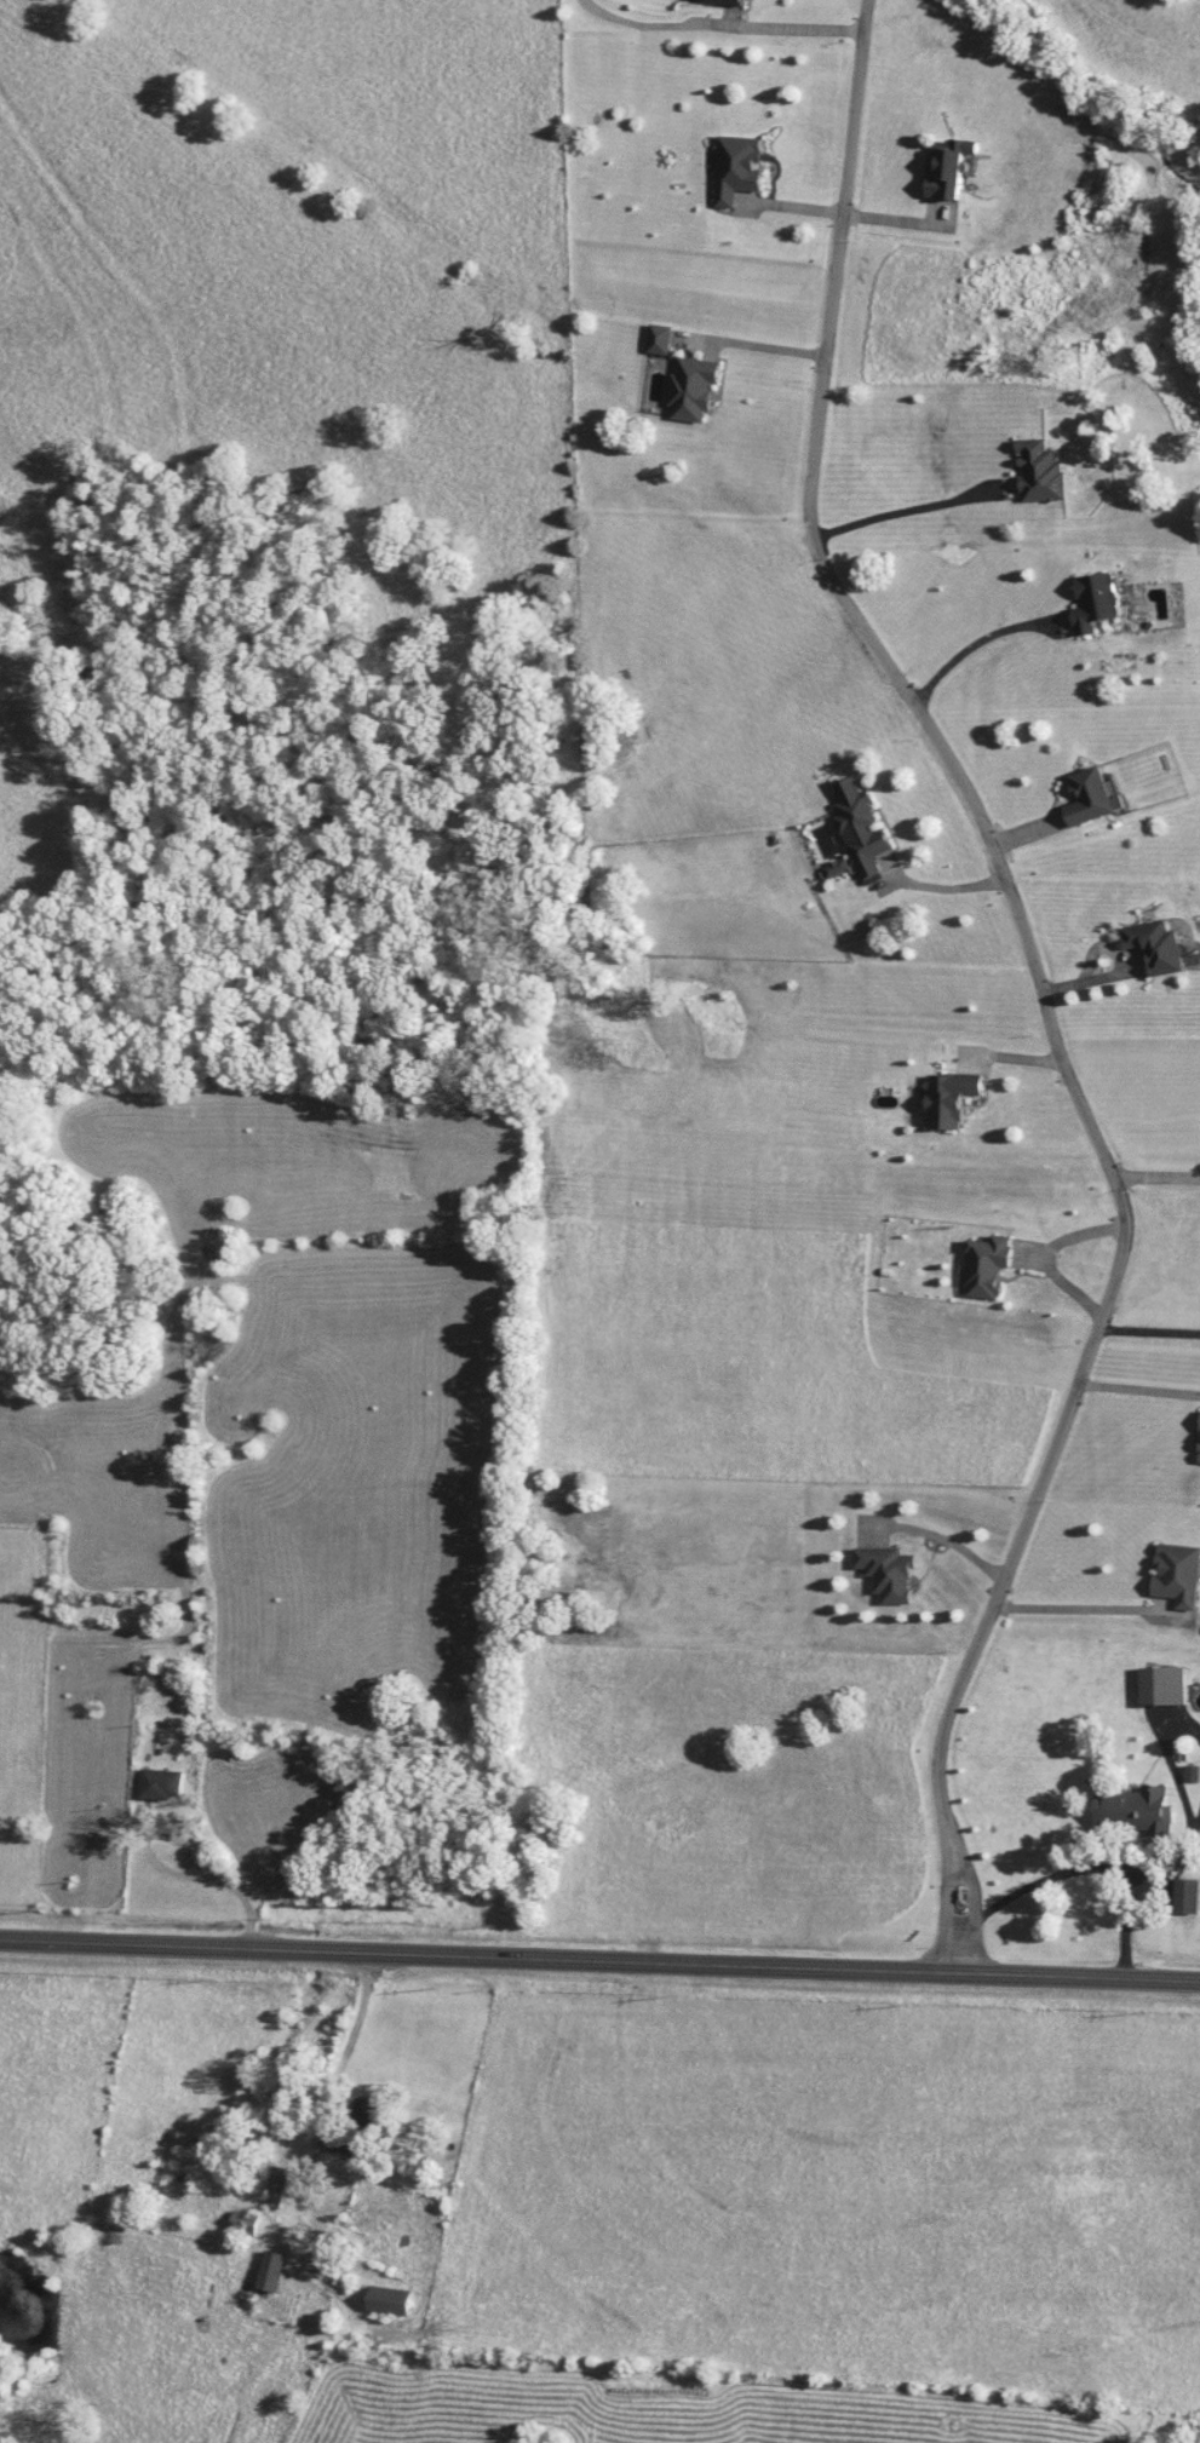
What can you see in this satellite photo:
building: (727, 1)
road: (719, 24)
building: (953, 165)
building: (739, 166)
building: (661, 338)
building: (695, 387)
building: (1044, 470)
road: (903, 501)
building: (1098, 600)
road: (974, 637)
building: (1096, 795)
building: (865, 824)
road: (937, 879)
building: (1160, 944)
road: (1037, 982)
building: (953, 1097)
road: (1159, 1168)
building: (988, 1265)
road: (1148, 1322)
road: (1137, 1381)
building: (890, 1571)
building: (1179, 1574)
road: (1081, 1598)
building: (1164, 1686)
building: (163, 1784)
building: (356, 1786)
building: (1135, 1810)
road: (1099, 1858)
road: (969, 1884)
building: (1188, 1896)
road: (599, 1960)
building: (367, 2117)
building: (275, 2186)
building: (271, 2271)
building: (390, 2299)

